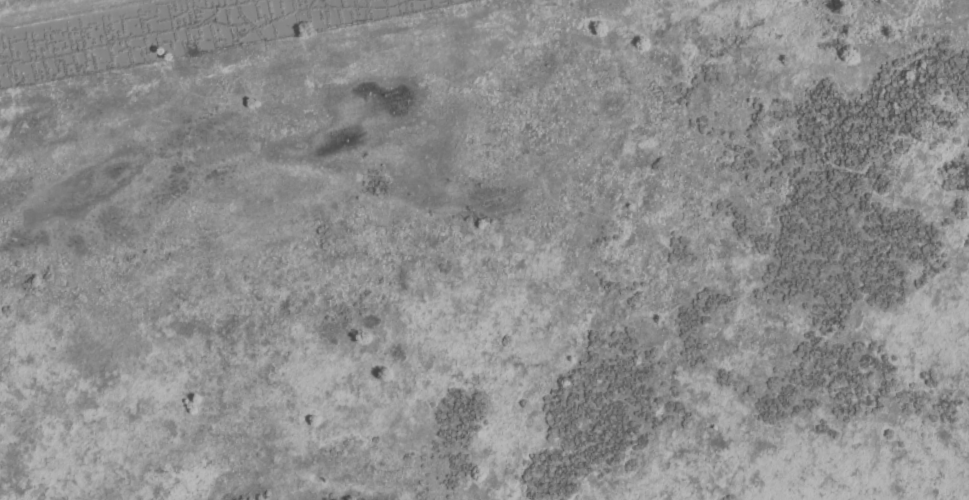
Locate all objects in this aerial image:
road: (59, 11)

